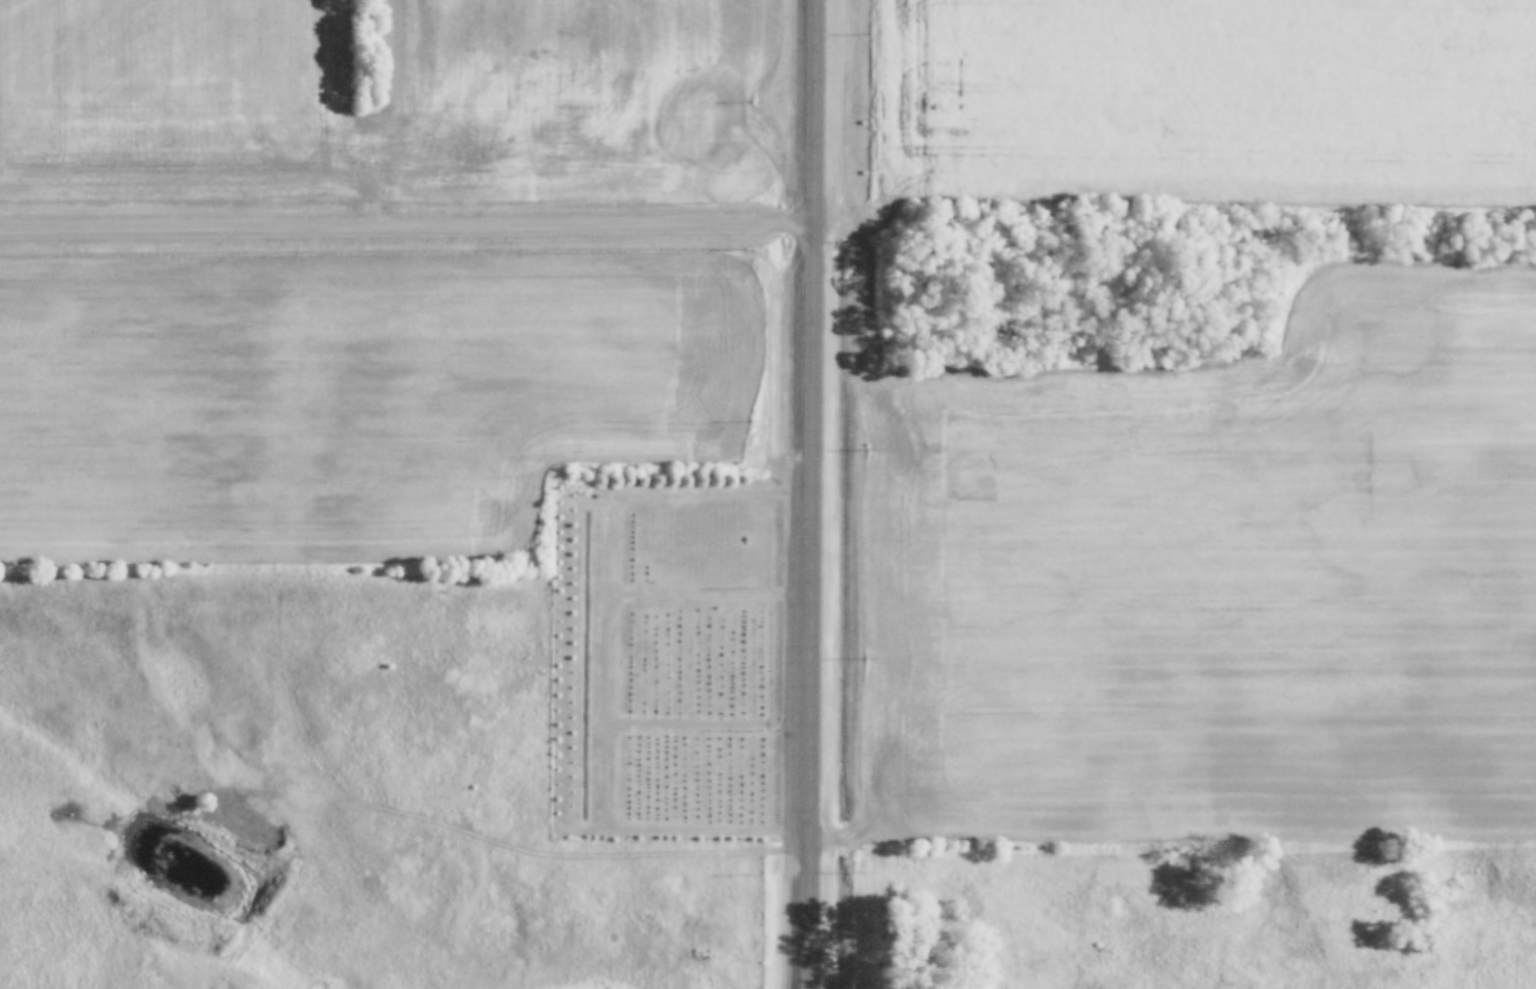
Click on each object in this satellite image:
road: (409, 230)
road: (817, 494)

